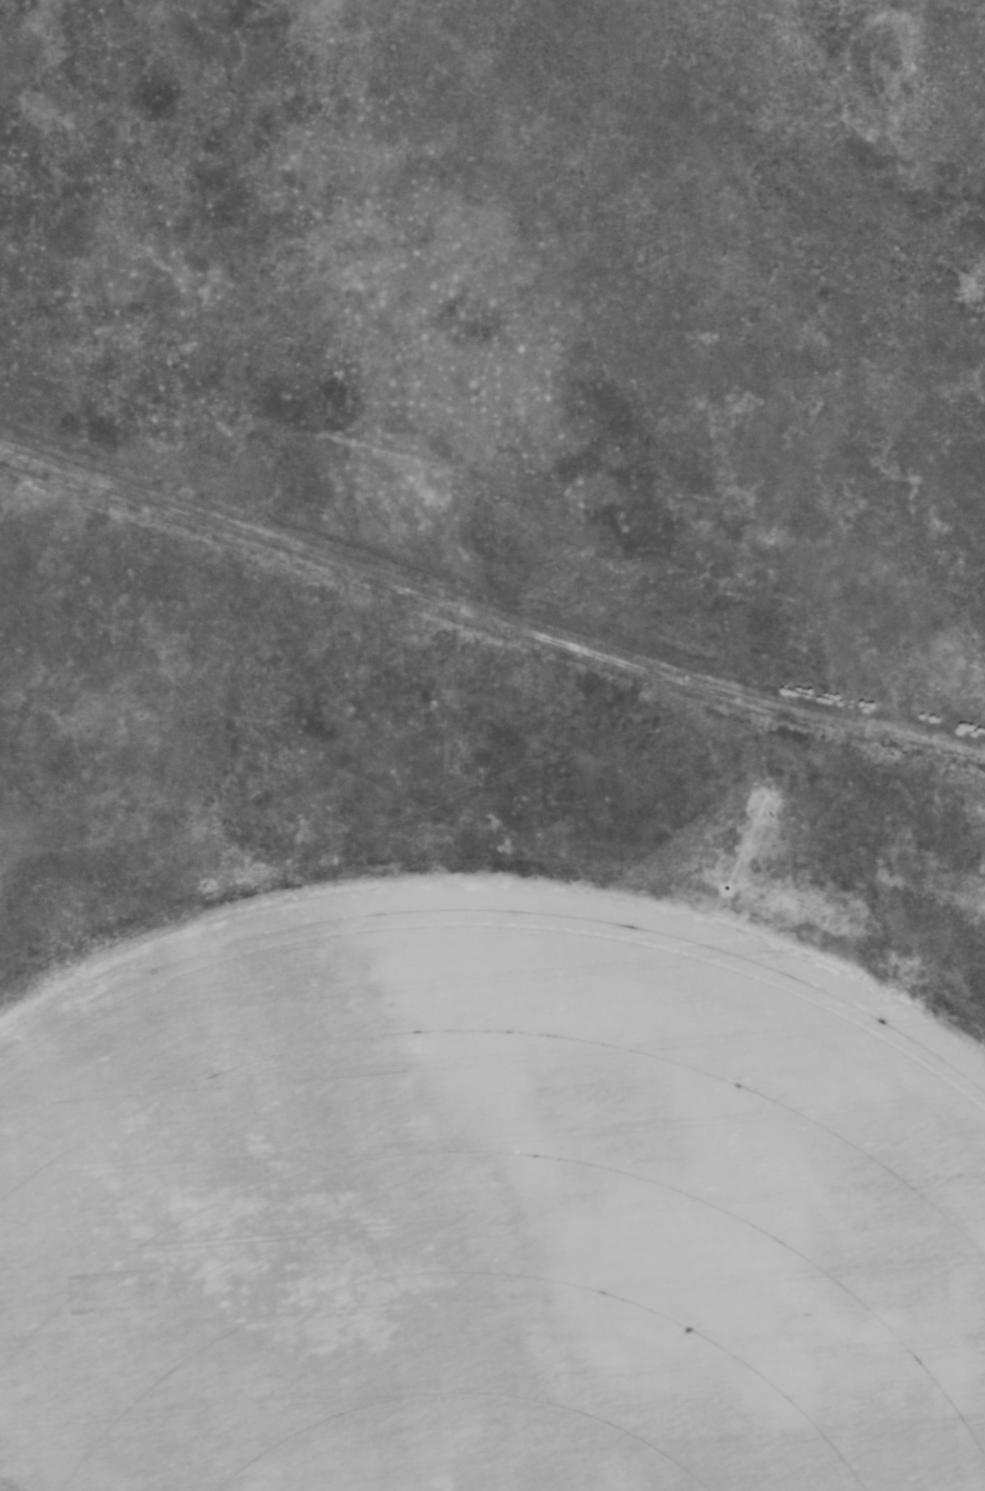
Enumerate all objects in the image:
crop: (487, 1208)

